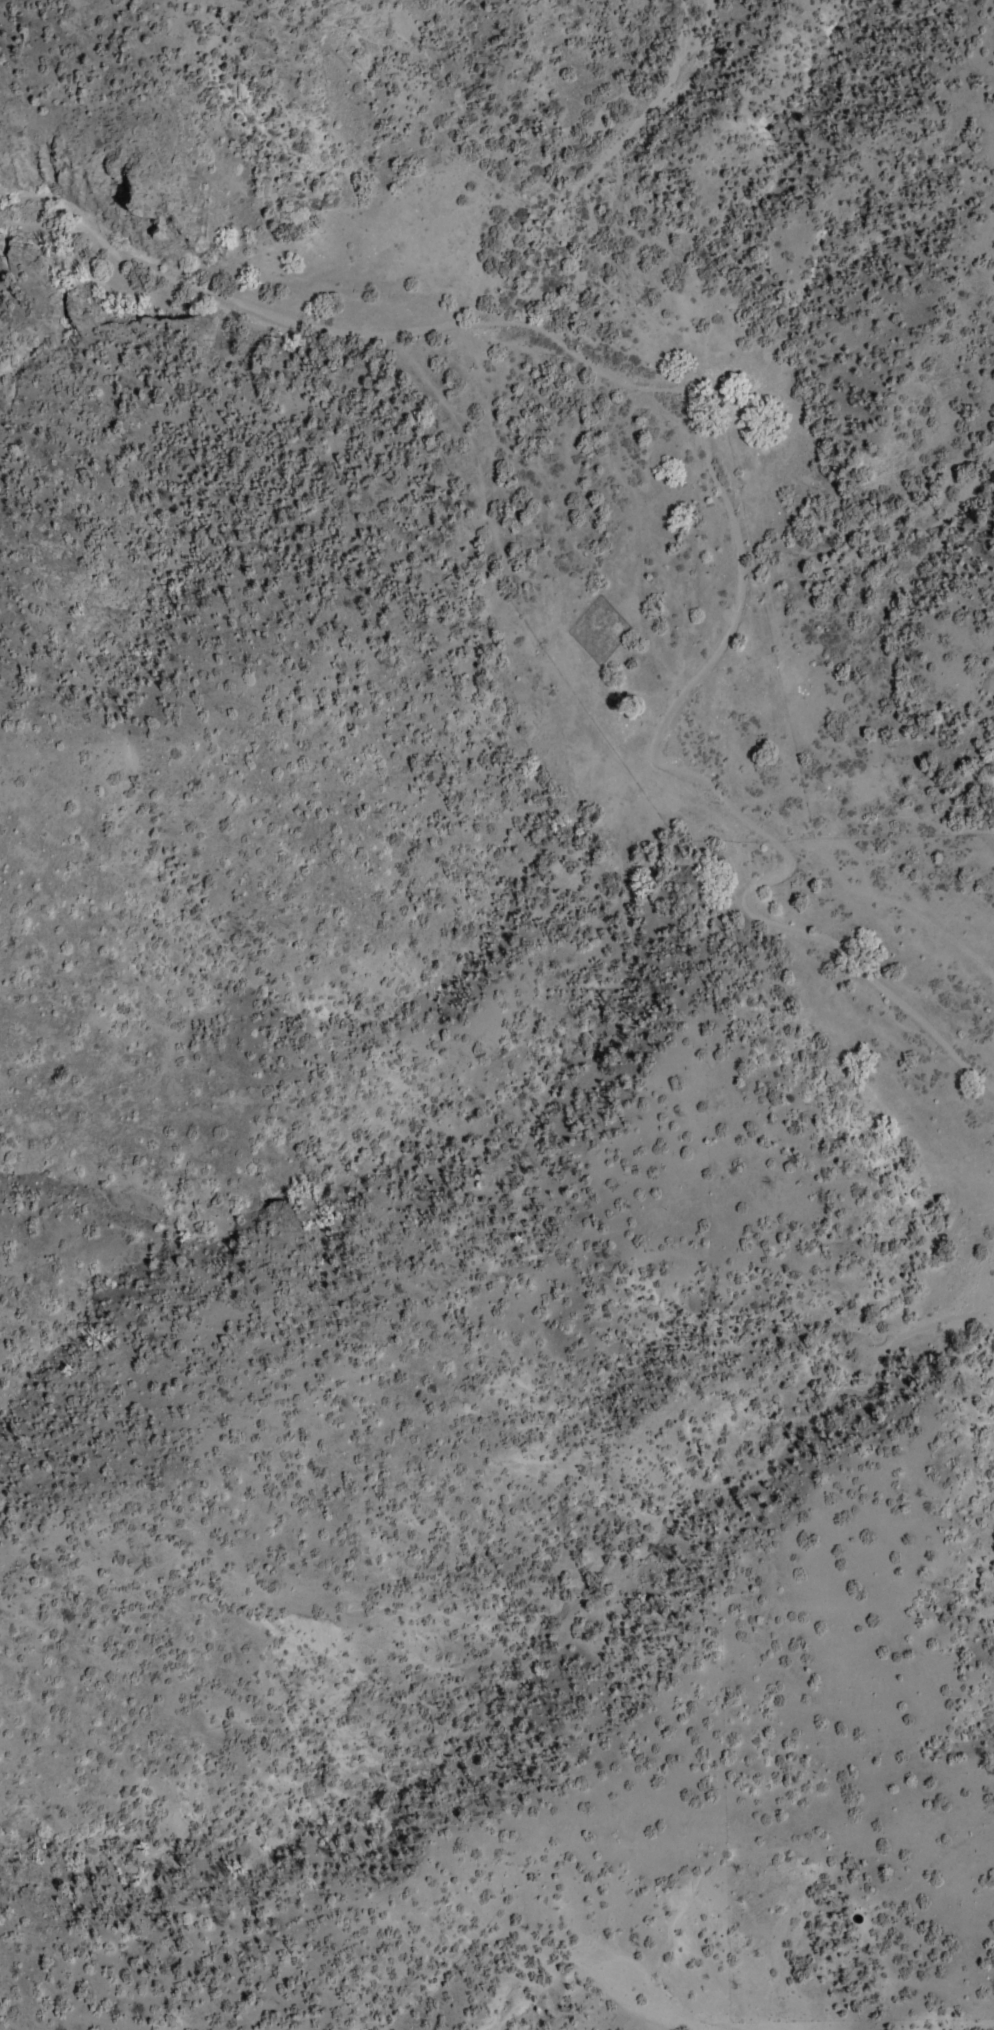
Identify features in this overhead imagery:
road: (989, 1186)

